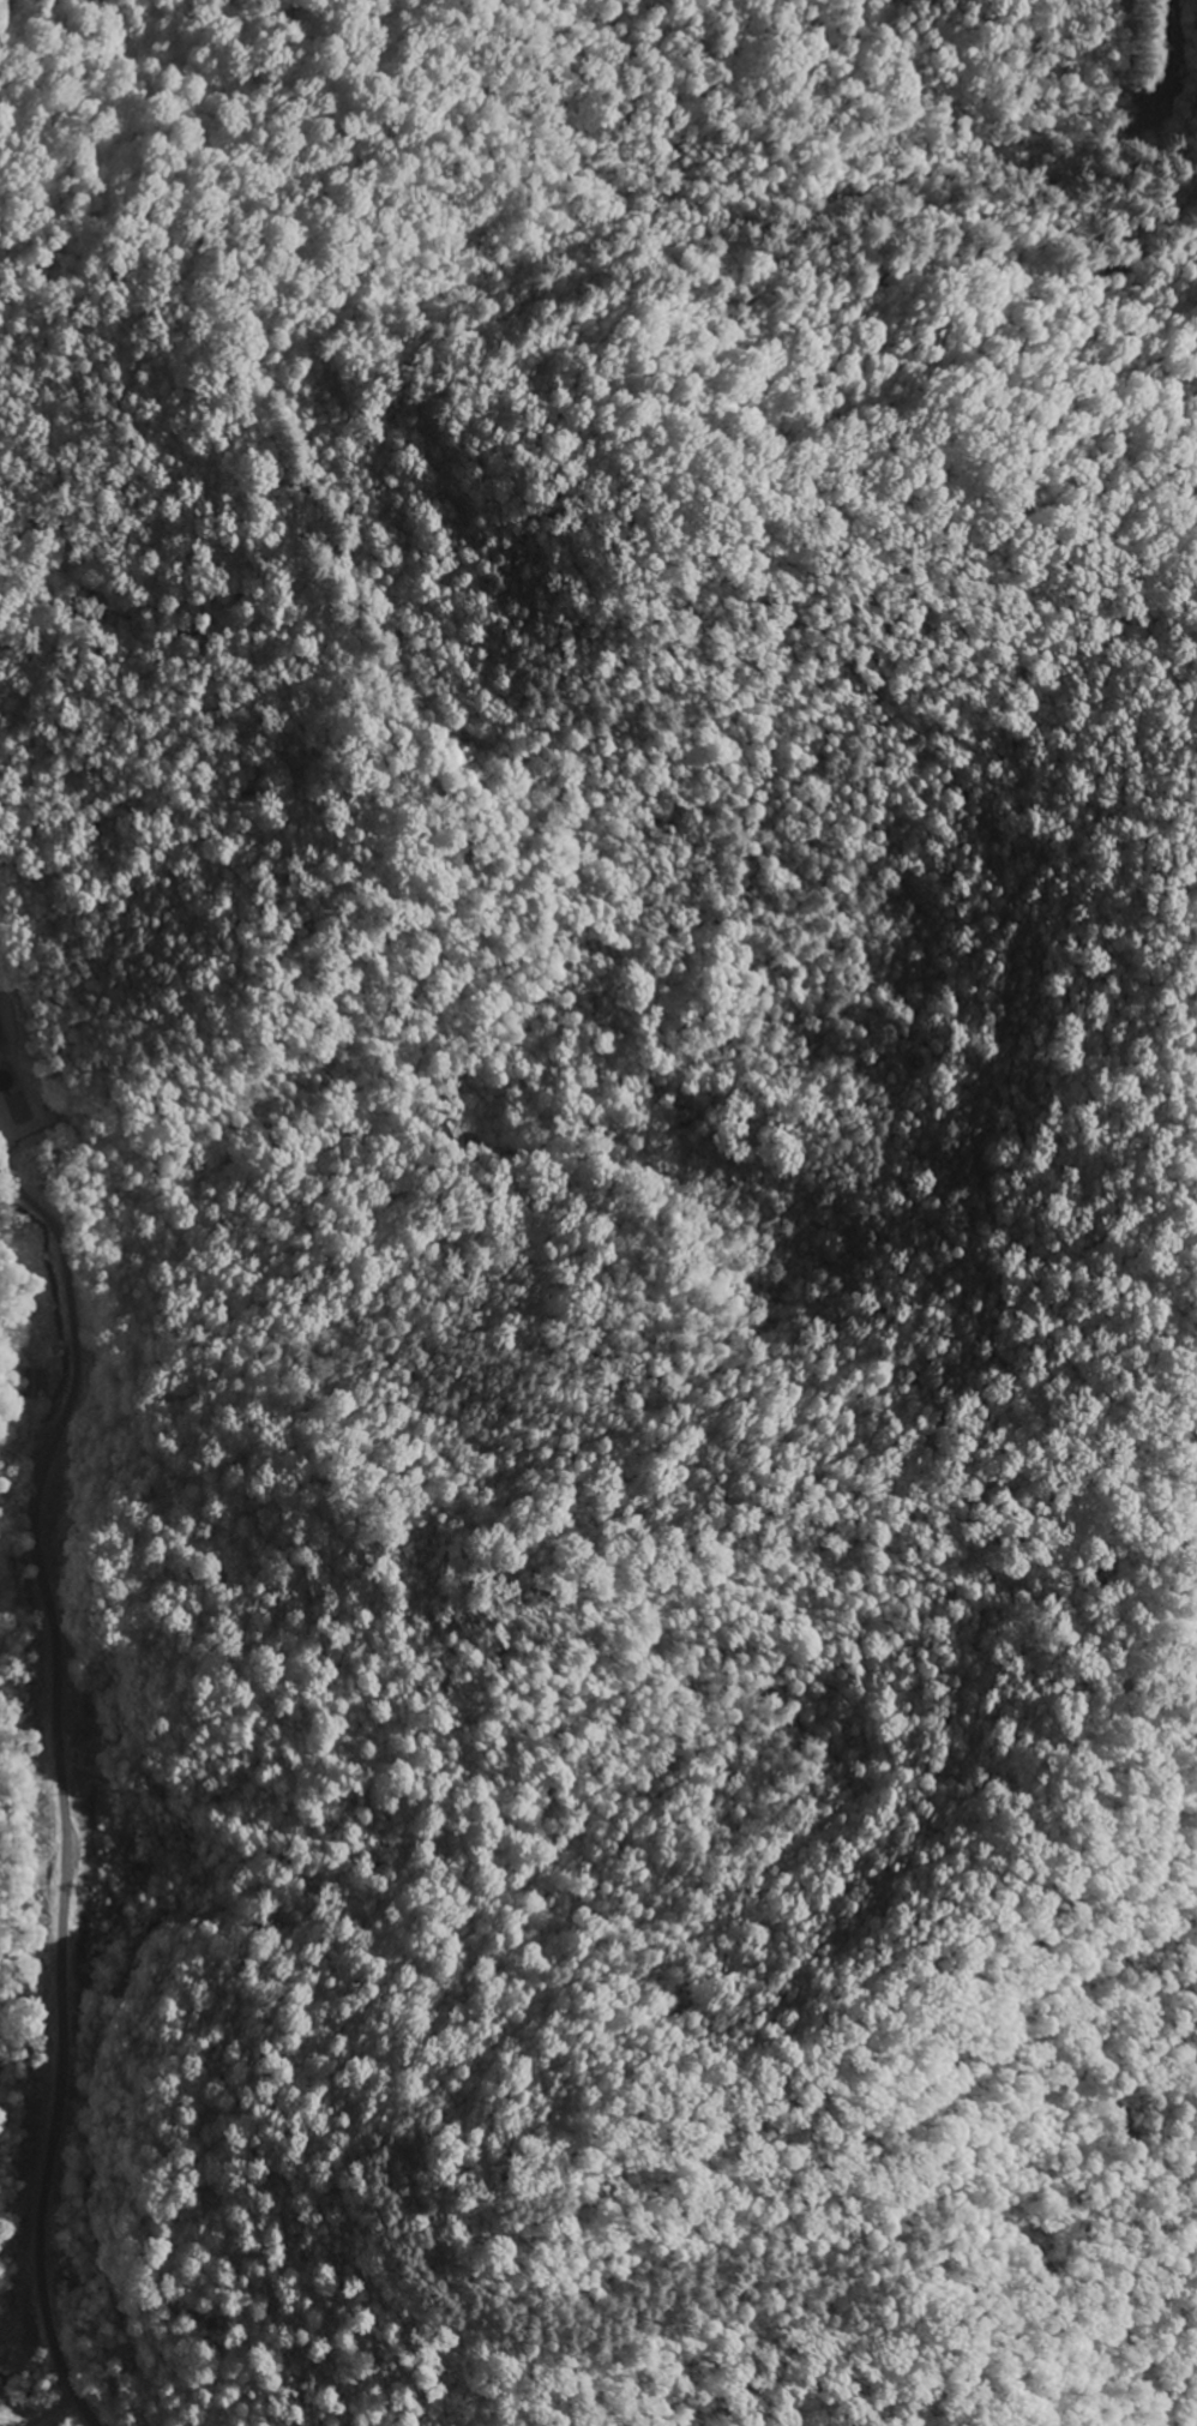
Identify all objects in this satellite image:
road: (61, 1781)

